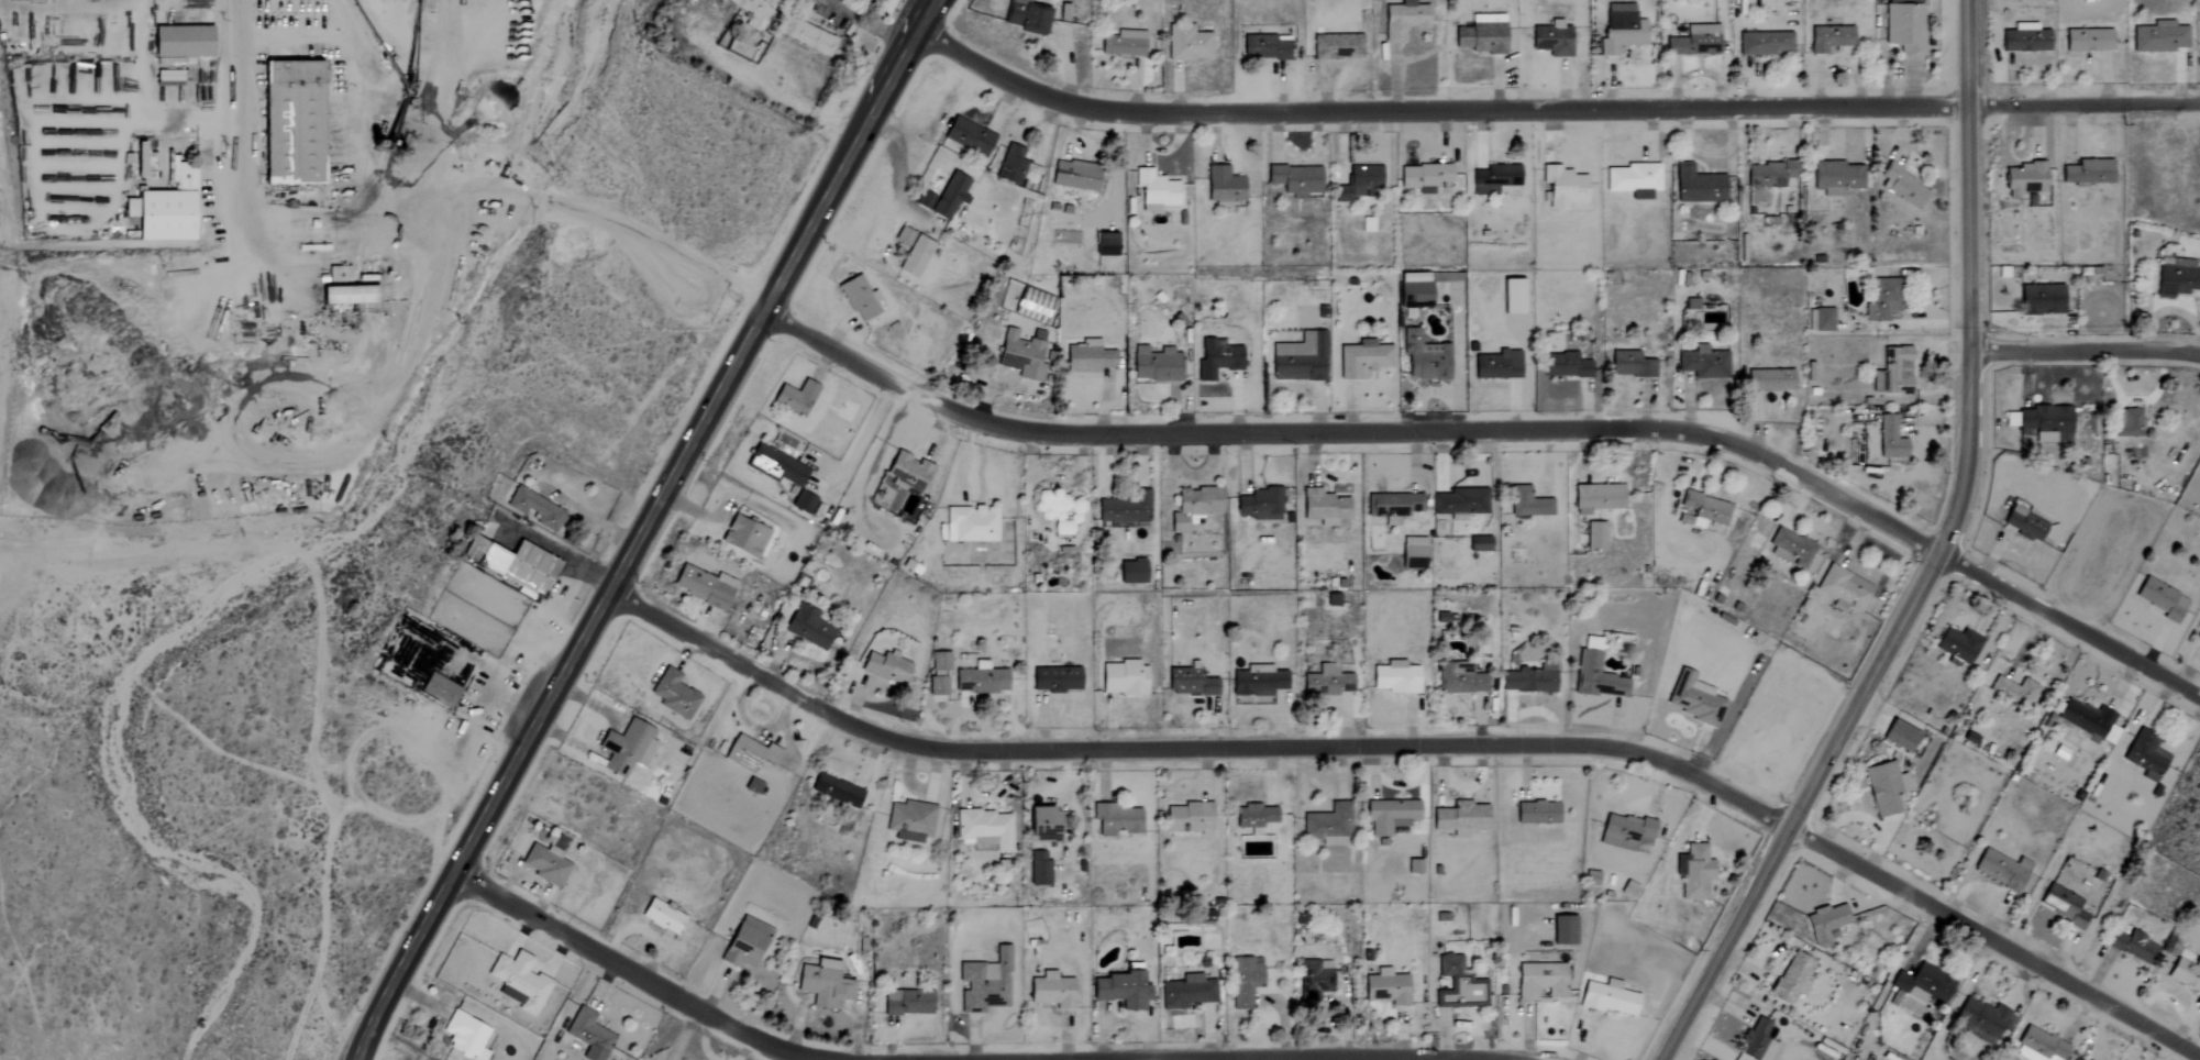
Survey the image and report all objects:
road: (935, 0)
building: (753, 9)
building: (1025, 16)
building: (1403, 20)
road: (865, 23)
building: (1904, 25)
building: (1621, 27)
building: (1481, 34)
building: (1828, 37)
building: (2158, 37)
building: (812, 38)
building: (1551, 38)
building: (2024, 38)
building: (2087, 40)
building: (179, 41)
building: (1694, 41)
building: (1121, 42)
building: (1765, 43)
building: (1186, 44)
building: (1264, 46)
building: (1336, 46)
road: (451, 93)
road: (1547, 111)
road: (239, 122)
building: (290, 122)
building: (968, 136)
building: (139, 159)
building: (1011, 164)
building: (2092, 170)
building: (1769, 174)
building: (1074, 175)
building: (1424, 177)
building: (1836, 177)
building: (2024, 177)
building: (1494, 178)
building: (1294, 179)
building: (1634, 180)
building: (1358, 183)
building: (1698, 186)
building: (1902, 186)
building: (1223, 187)
building: (1562, 187)
building: (1156, 191)
building: (949, 195)
building: (925, 200)
building: (164, 209)
road: (615, 223)
building: (904, 235)
building: (1105, 244)
road: (354, 256)
building: (915, 256)
building: (336, 274)
building: (2177, 278)
building: (1413, 287)
building: (345, 295)
building: (1512, 296)
building: (859, 298)
building: (2045, 299)
building: (1883, 300)
building: (1823, 320)
road: (2087, 352)
building: (1021, 354)
building: (1087, 357)
building: (1424, 357)
building: (1216, 358)
building: (1300, 358)
building: (1362, 358)
building: (1702, 363)
building: (1154, 364)
building: (1497, 365)
building: (1567, 365)
building: (1630, 365)
building: (1894, 374)
building: (1770, 380)
building: (795, 397)
building: (2046, 422)
building: (2126, 422)
road: (1504, 432)
building: (1890, 439)
road: (855, 442)
building: (1875, 453)
building: (775, 466)
building: (908, 471)
building: (1596, 498)
building: (803, 501)
building: (1460, 503)
building: (1527, 503)
building: (1259, 505)
building: (1392, 506)
building: (1193, 507)
building: (1323, 507)
building: (533, 509)
building: (1054, 510)
building: (1123, 510)
building: (1701, 510)
building: (970, 523)
building: (2025, 525)
road: (649, 531)
building: (743, 535)
building: (1594, 535)
building: (1479, 544)
building: (1790, 549)
building: (1413, 553)
road: (562, 555)
road: (1938, 563)
building: (519, 566)
building: (1130, 572)
building: (703, 586)
building: (1844, 589)
building: (2162, 599)
building: (806, 627)
building: (2199, 637)
building: (1958, 644)
building: (423, 659)
building: (938, 661)
building: (884, 667)
building: (1595, 673)
building: (1395, 677)
building: (1123, 678)
building: (1458, 678)
building: (980, 680)
building: (1528, 680)
building: (1258, 681)
building: (1189, 682)
building: (1327, 682)
building: (936, 686)
building: (438, 689)
building: (2014, 691)
building: (674, 695)
building: (1695, 700)
building: (2086, 720)
building: (1900, 736)
building: (626, 748)
road: (1426, 749)
building: (749, 753)
building: (2145, 755)
building: (752, 786)
building: (1884, 787)
building: (836, 791)
building: (1536, 813)
building: (1389, 816)
building: (1254, 817)
building: (1187, 818)
building: (1460, 818)
building: (910, 820)
building: (1114, 820)
building: (1042, 825)
building: (1327, 825)
building: (983, 829)
building: (1625, 832)
building: (544, 865)
building: (1413, 866)
building: (1038, 869)
building: (2001, 870)
building: (1693, 872)
building: (2063, 905)
building: (661, 917)
building: (1825, 925)
building: (744, 943)
building: (2133, 947)
building: (2185, 974)
road: (637, 976)
building: (1792, 978)
building: (1539, 981)
building: (518, 982)
building: (1245, 982)
building: (1313, 982)
building: (822, 983)
building: (983, 983)
building: (1923, 984)
building: (1458, 985)
building: (1386, 987)
building: (1120, 990)
building: (1189, 991)
building: (1051, 992)
building: (1607, 998)
building: (907, 1003)
building: (1983, 1022)
building: (588, 1035)
building: (464, 1036)
road: (681, 1038)
building: (1756, 1041)
building: (2038, 1047)

